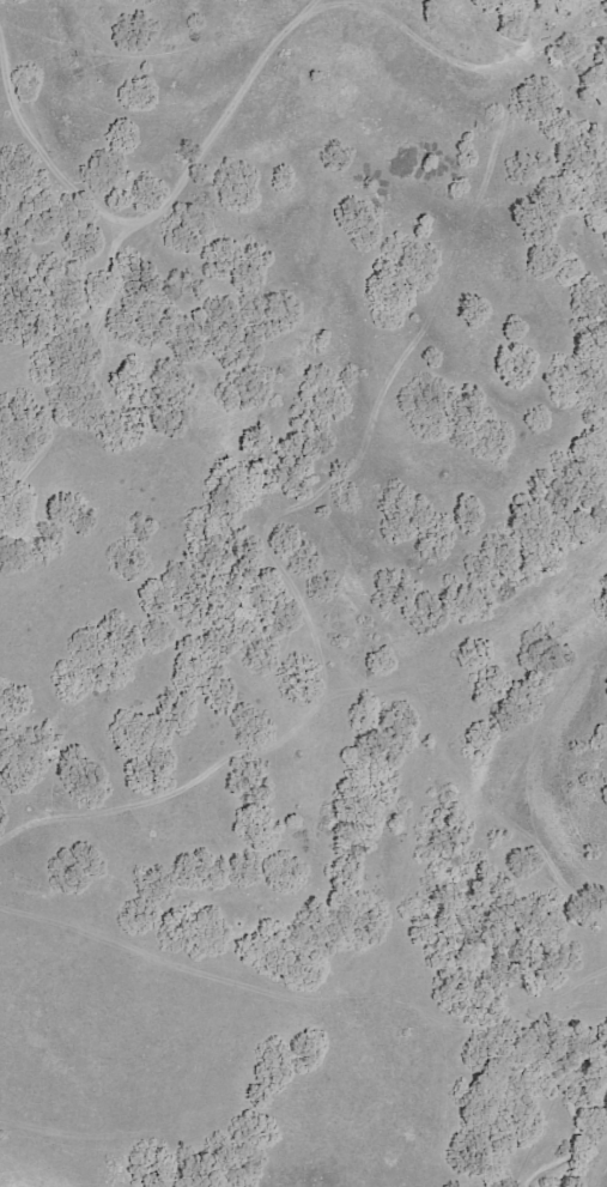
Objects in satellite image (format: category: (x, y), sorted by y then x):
building: (520, 1)
building: (510, 10)
road: (245, 87)

